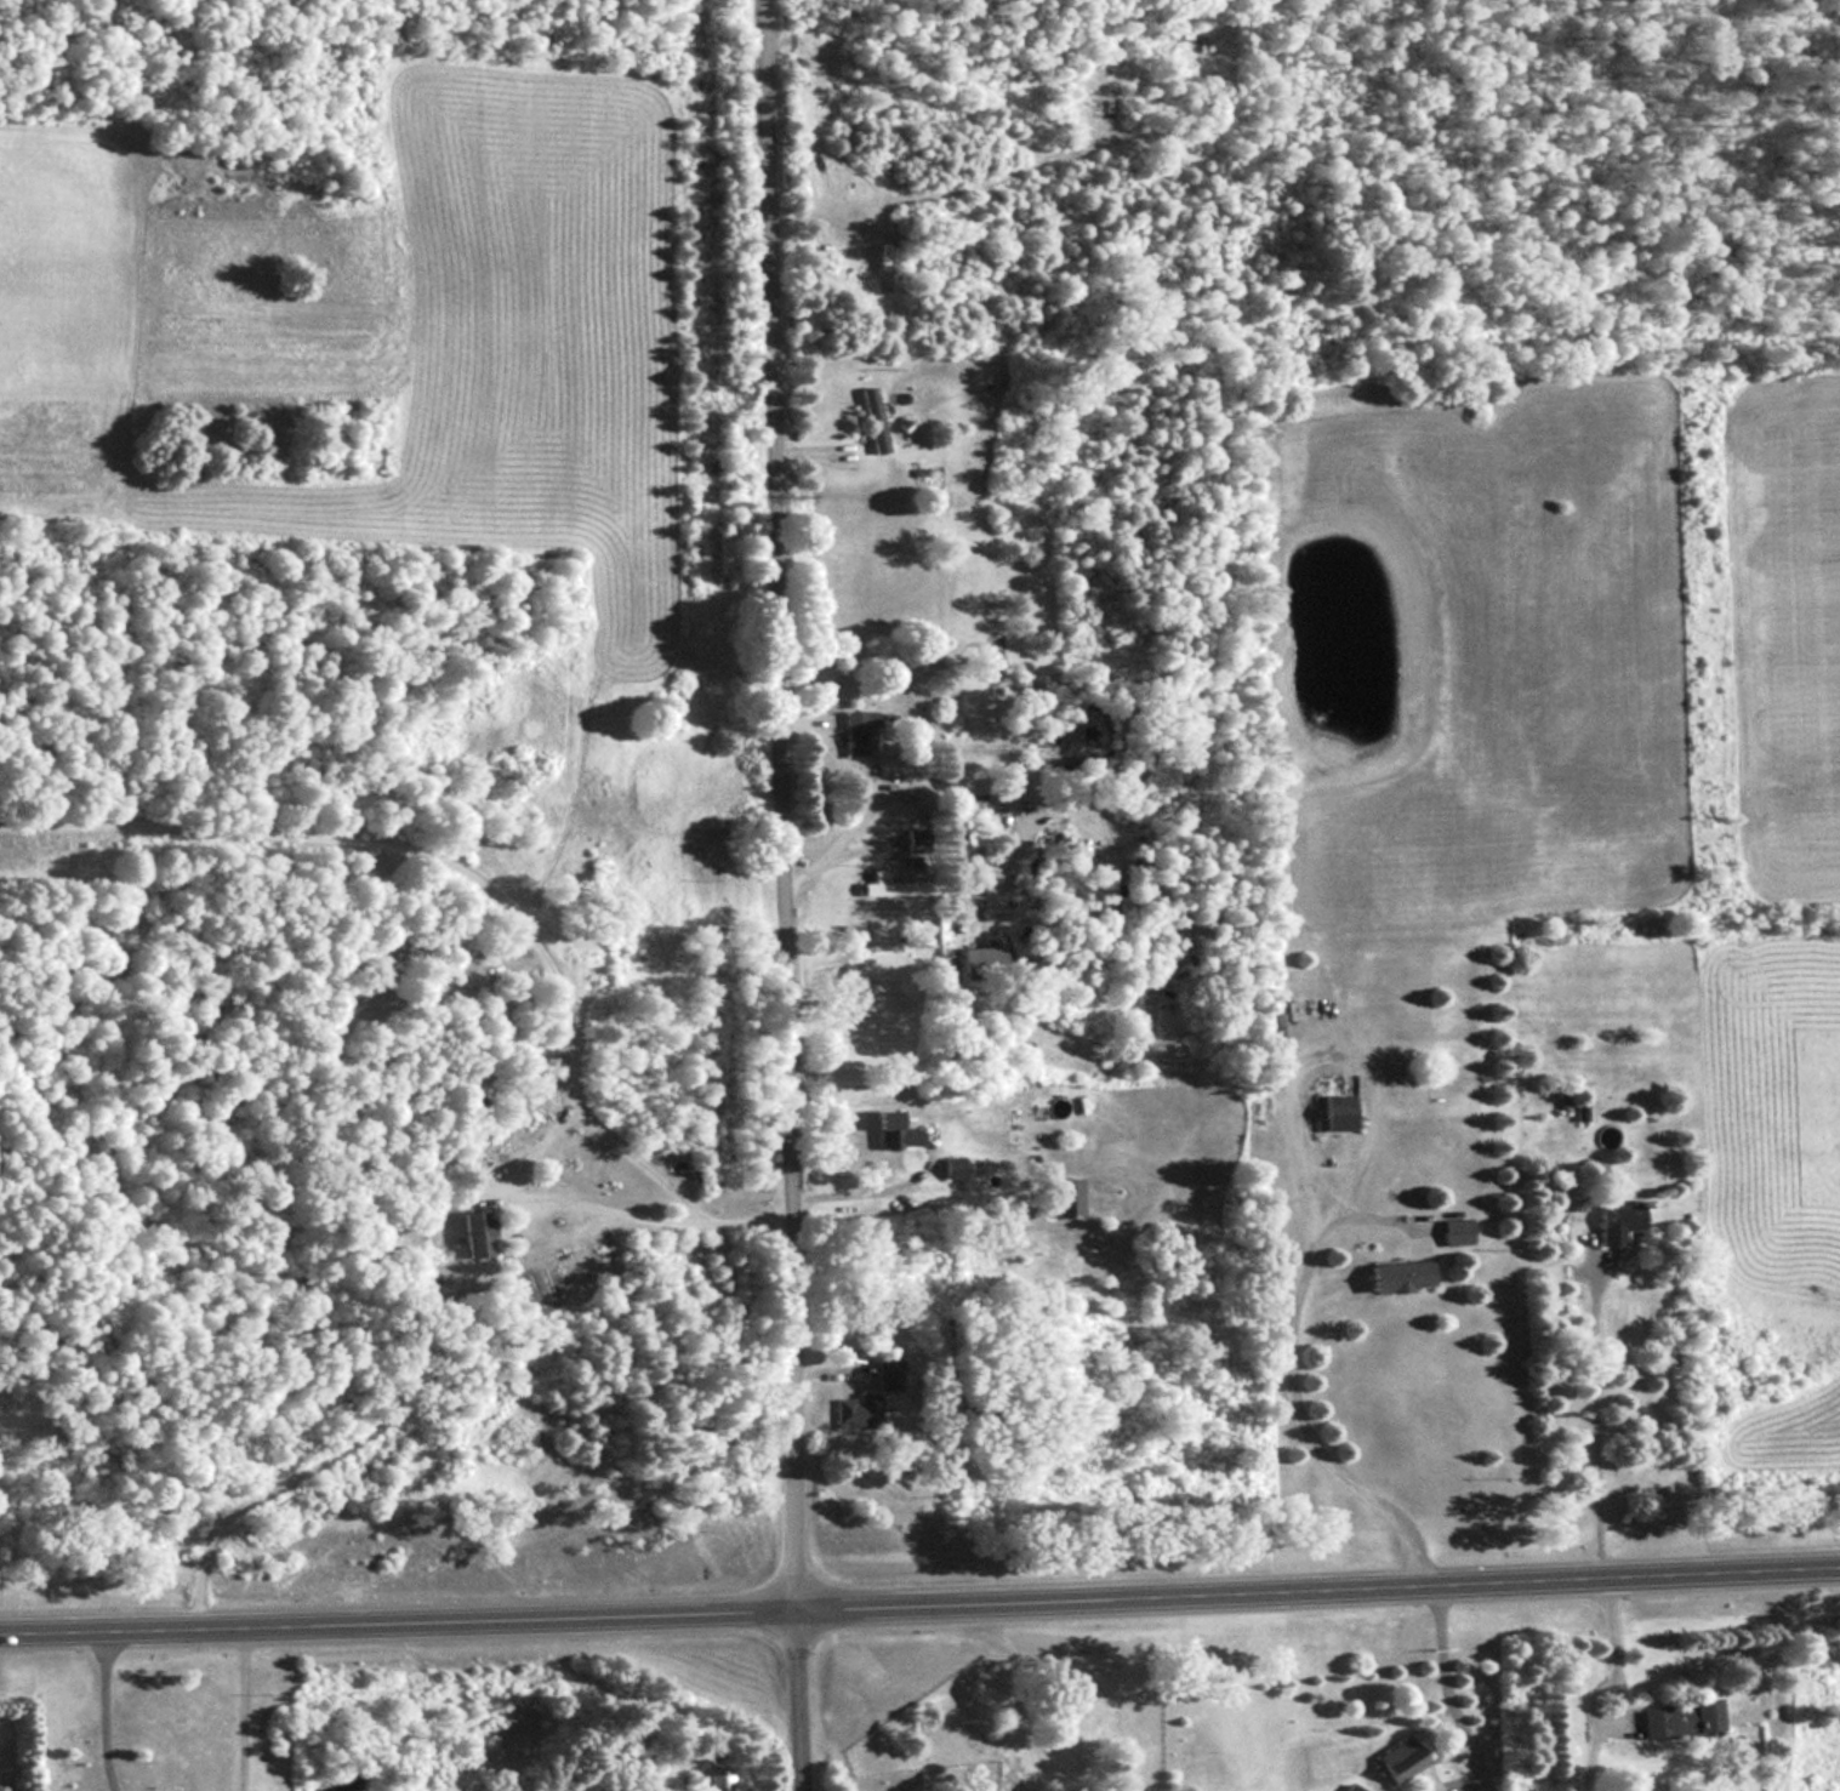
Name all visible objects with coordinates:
building: (1201, 46)
building: (872, 420)
building: (855, 730)
building: (915, 840)
building: (889, 886)
road: (784, 895)
building: (980, 963)
building: (1333, 1112)
building: (890, 1131)
building: (950, 1168)
road: (868, 1190)
building: (1059, 1199)
road: (645, 1219)
building: (1613, 1224)
building: (1452, 1227)
building: (474, 1234)
building: (1397, 1276)
road: (1283, 1370)
building: (885, 1375)
road: (1586, 1409)
building: (855, 1411)
road: (919, 1608)
road: (1612, 1649)
road: (1451, 1707)
building: (1676, 1718)
building: (1397, 1758)
building: (713, 1778)
building: (1350, 1787)

